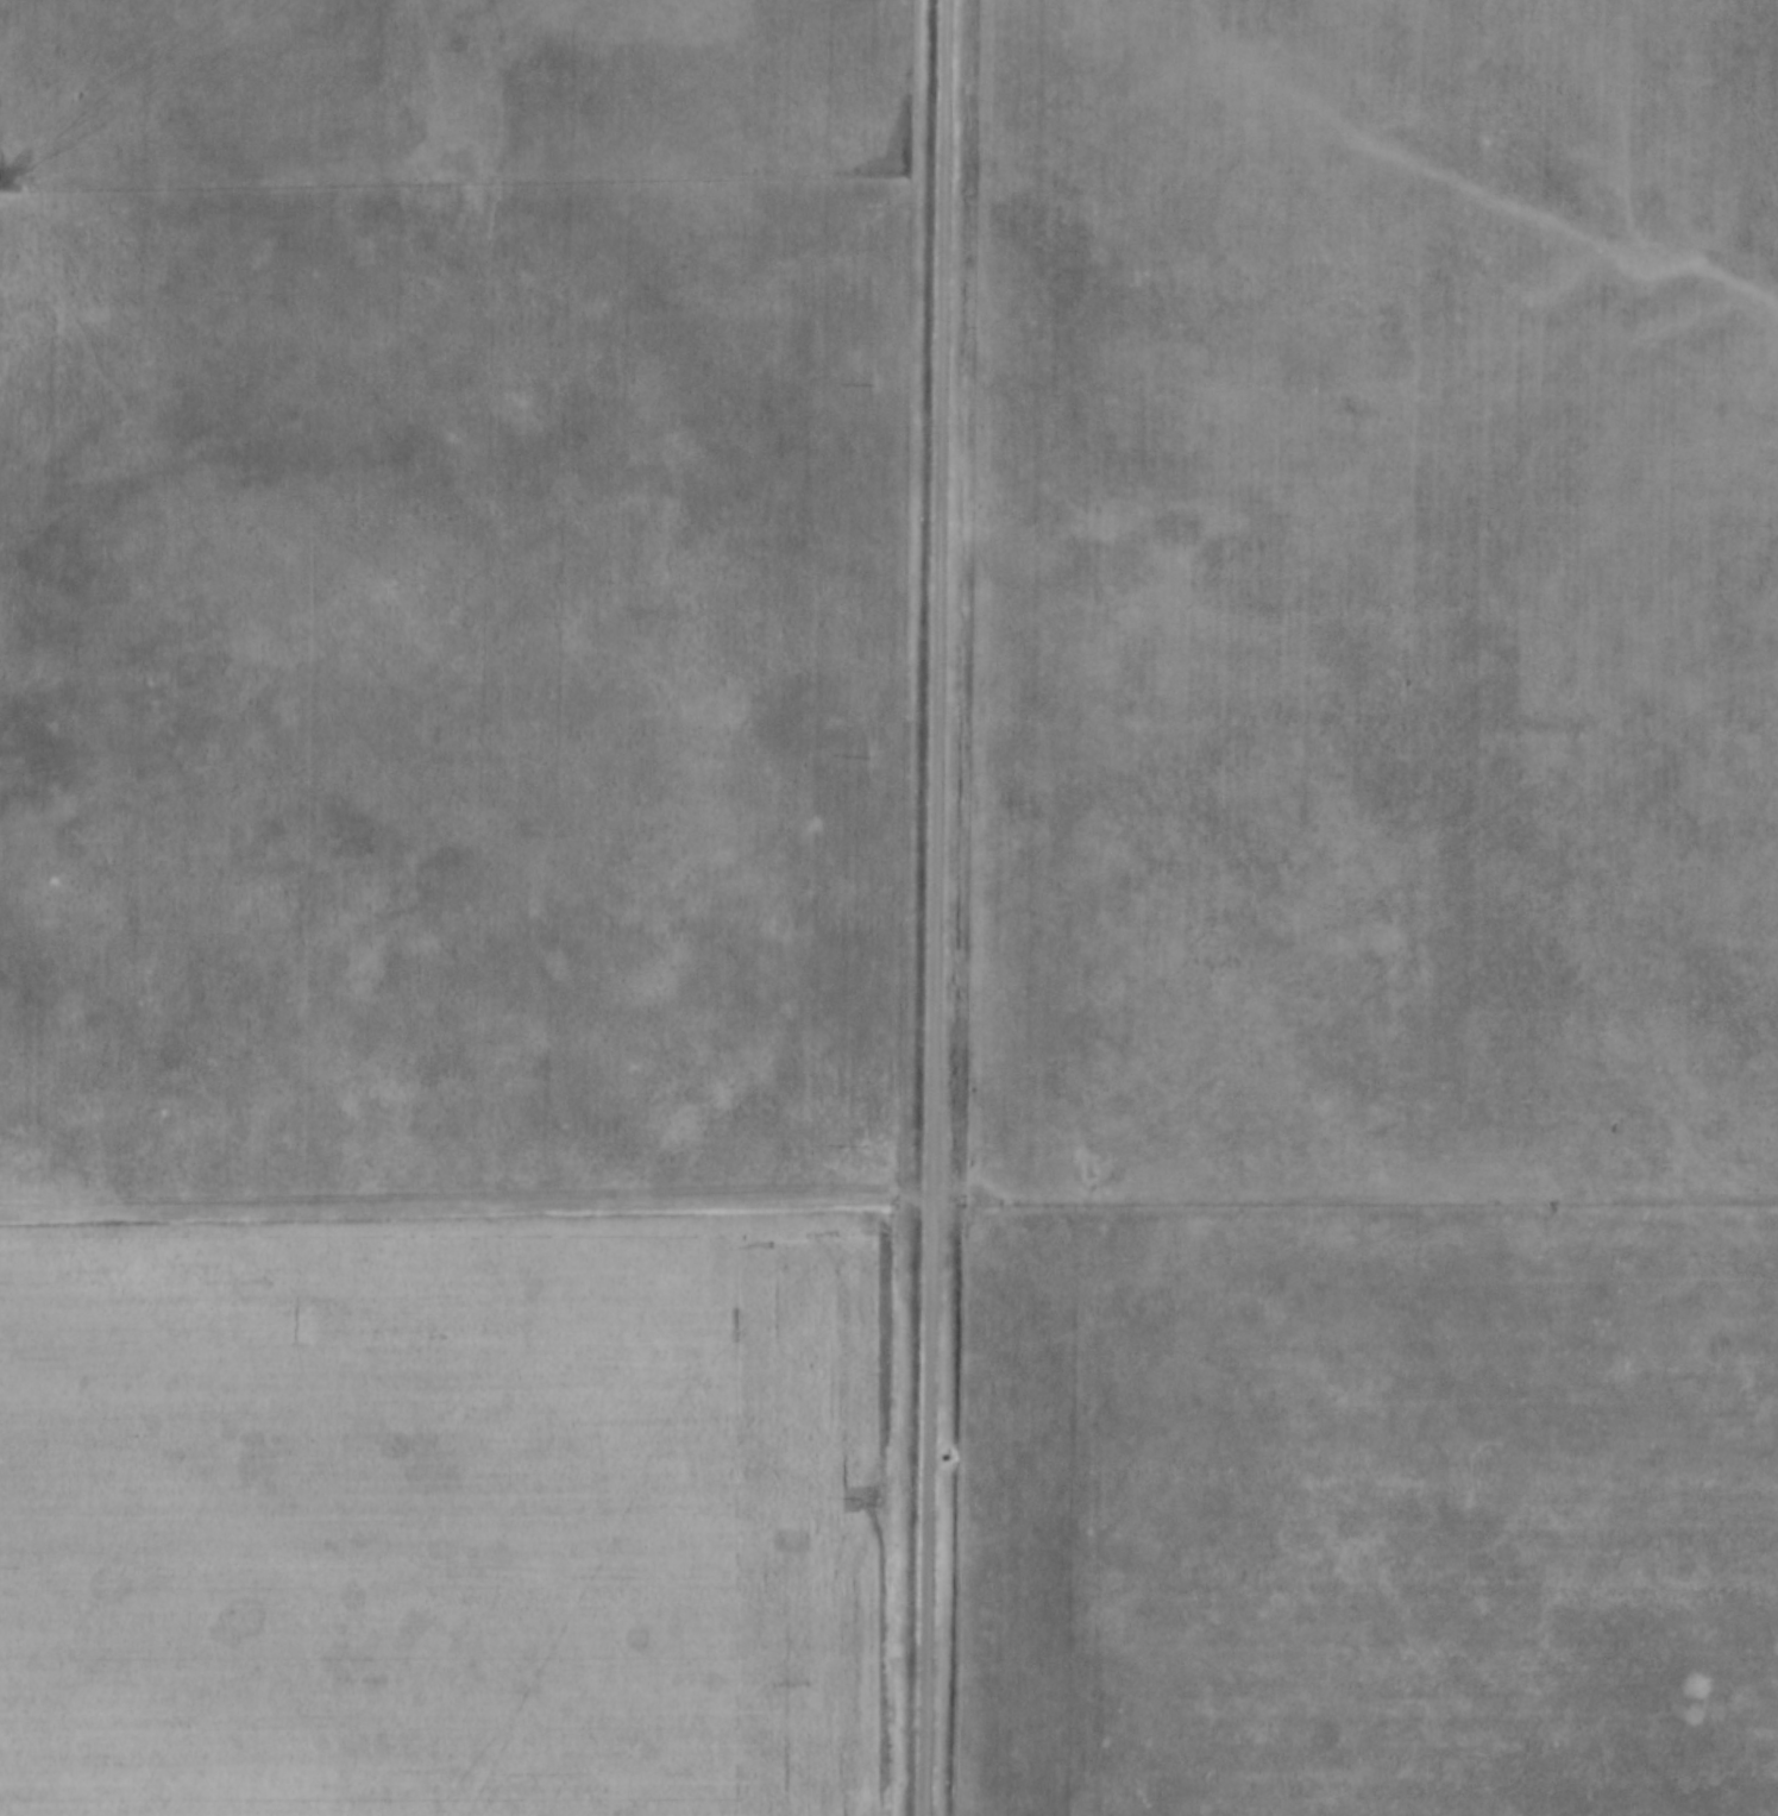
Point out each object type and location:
road: (934, 907)

